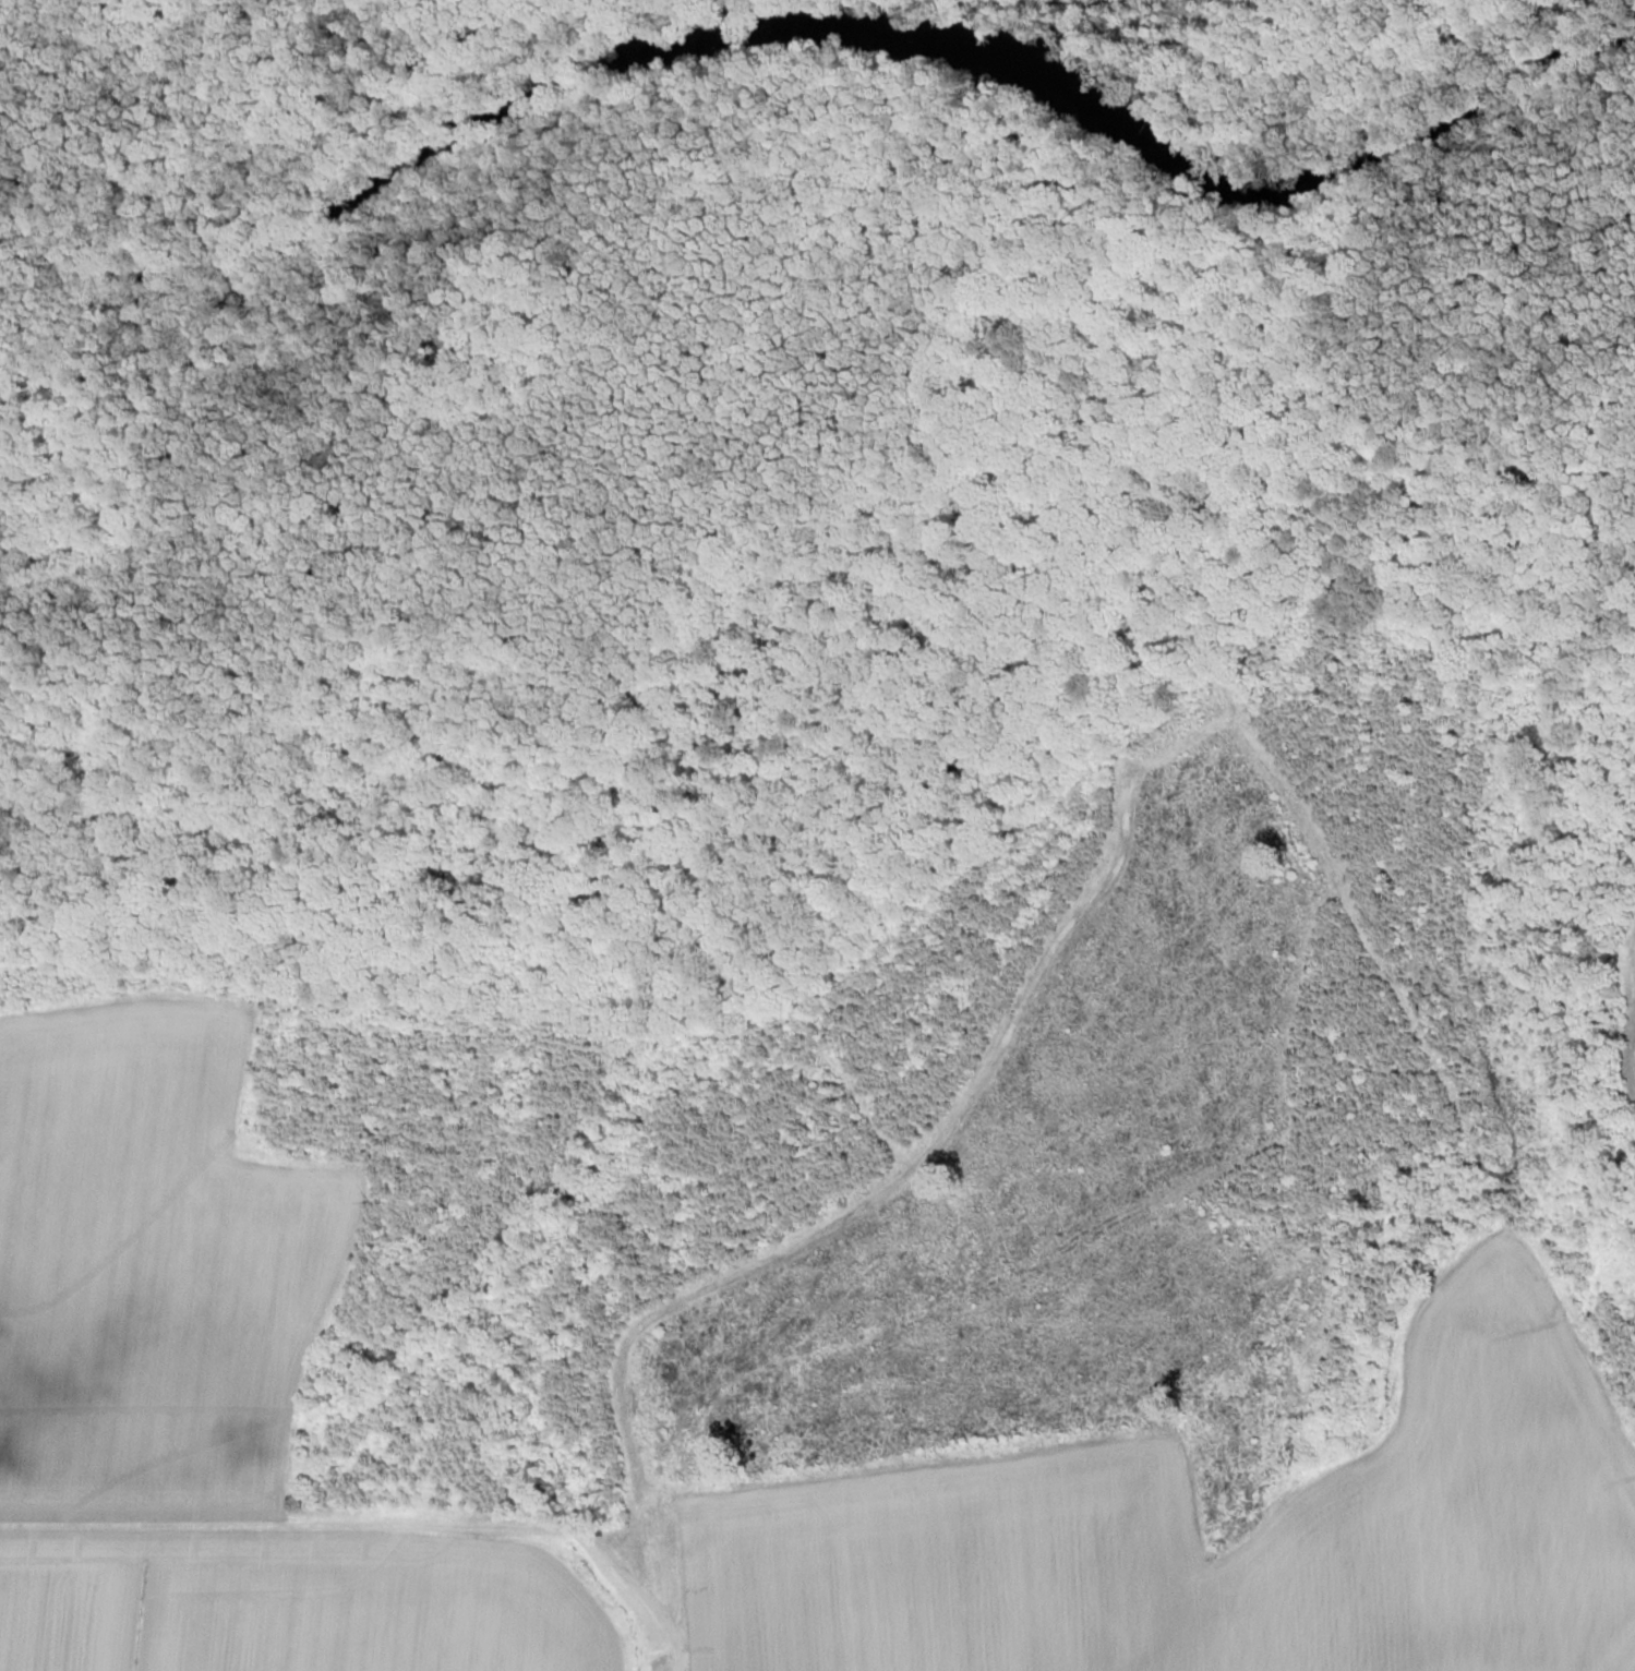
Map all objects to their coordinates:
park: (736, 542)

